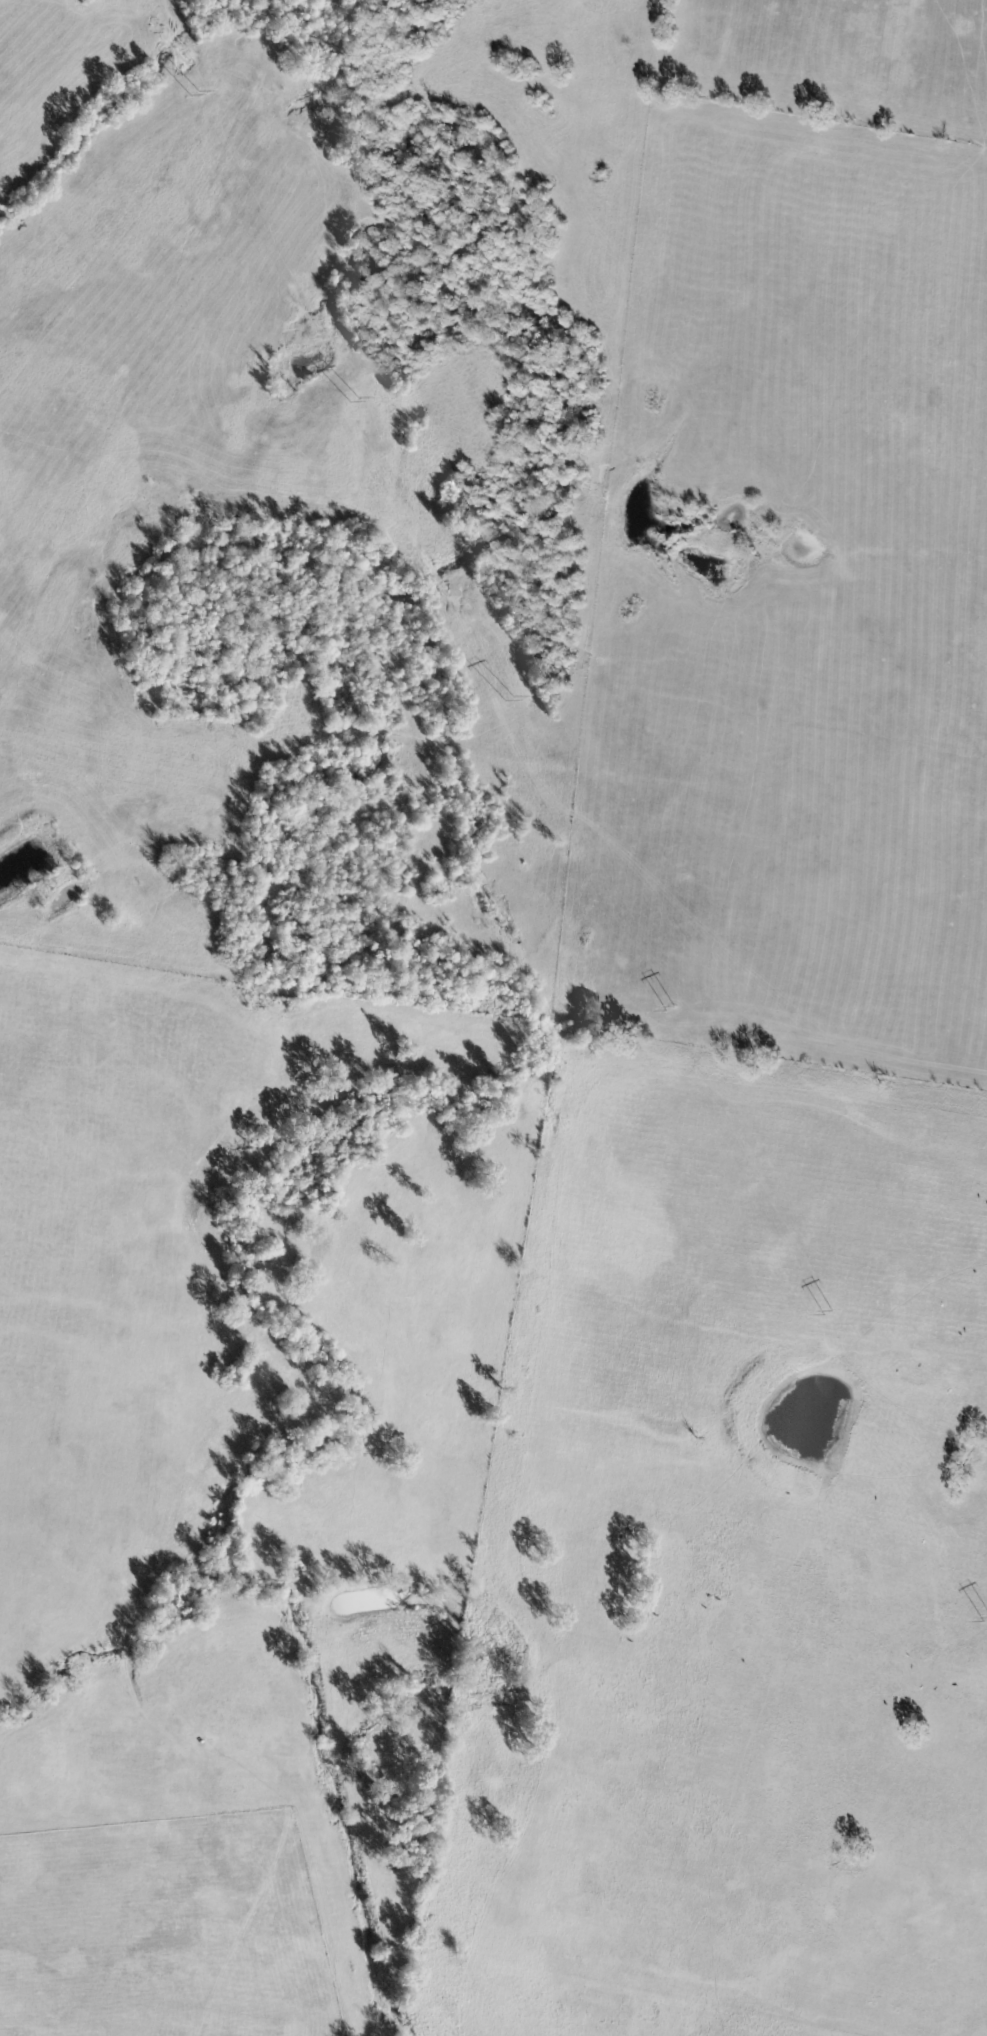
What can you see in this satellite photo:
power tower: (195, 90)
power tower: (348, 396)
power tower: (505, 685)
power tower: (673, 1004)
power tower: (828, 1309)

